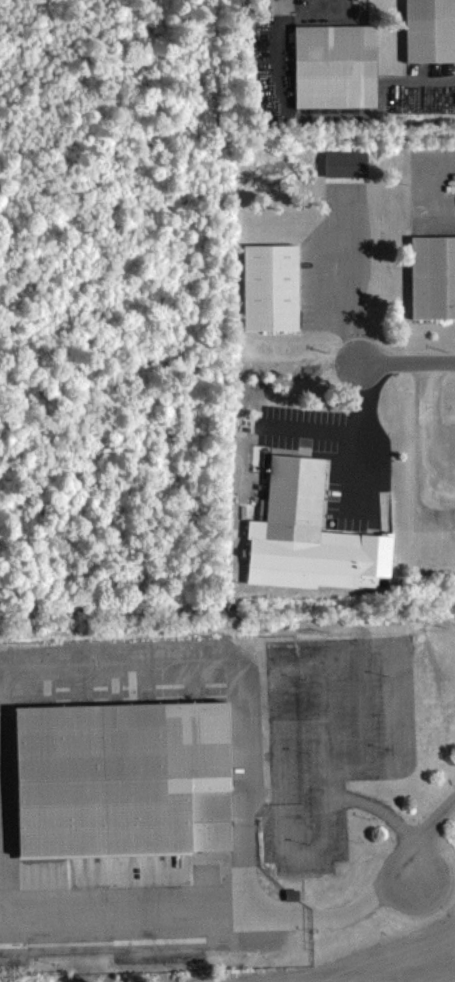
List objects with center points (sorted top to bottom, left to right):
road: (345, 6)
building: (429, 30)
building: (334, 65)
building: (347, 173)
building: (432, 276)
building: (269, 287)
road: (350, 293)
road: (409, 364)
road: (433, 425)
road: (362, 427)
building: (312, 525)
building: (119, 779)
road: (426, 831)

